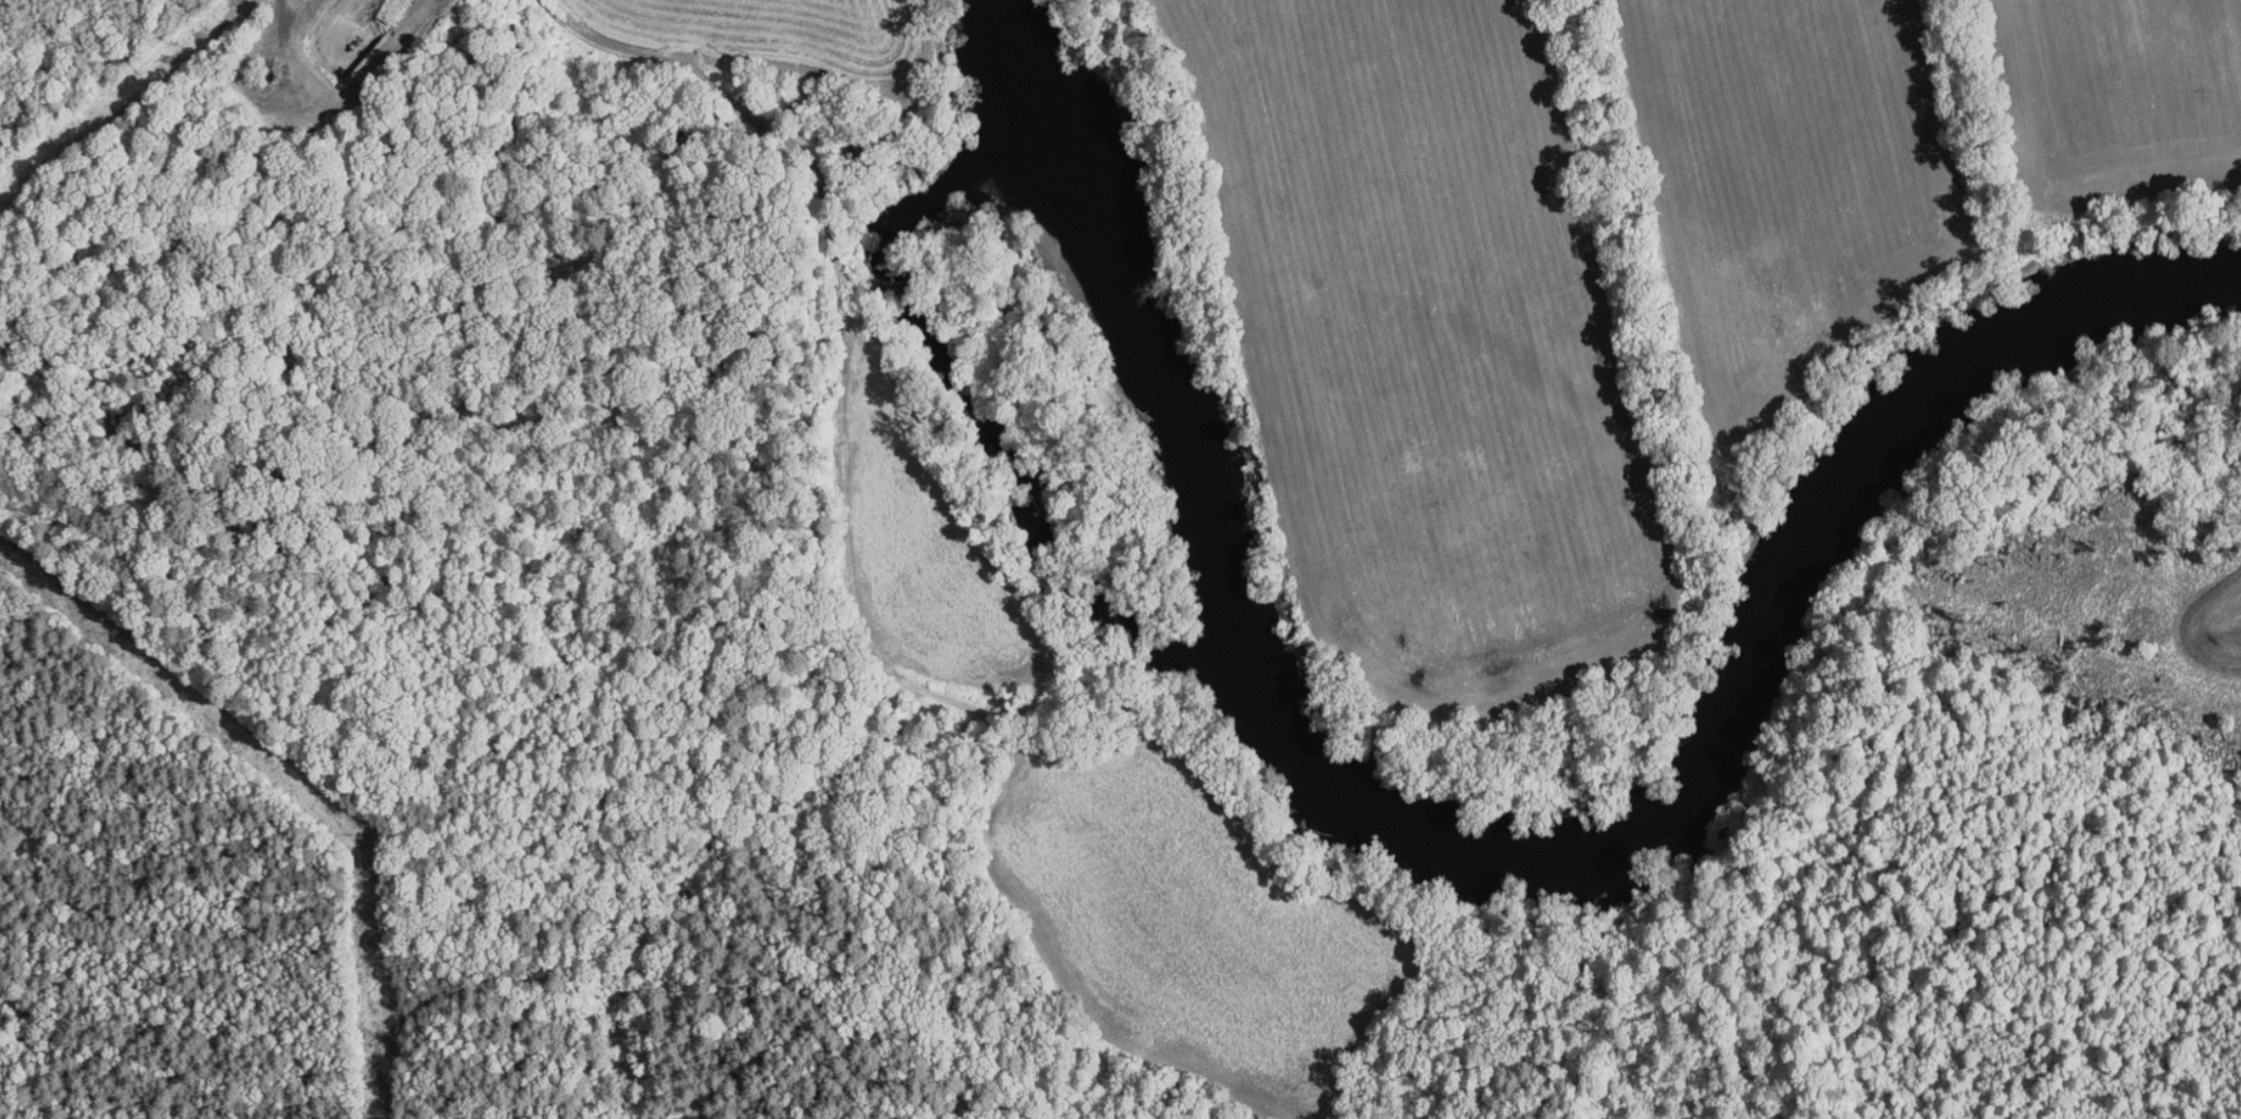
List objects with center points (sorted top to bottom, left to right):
river: (1491, 847)

